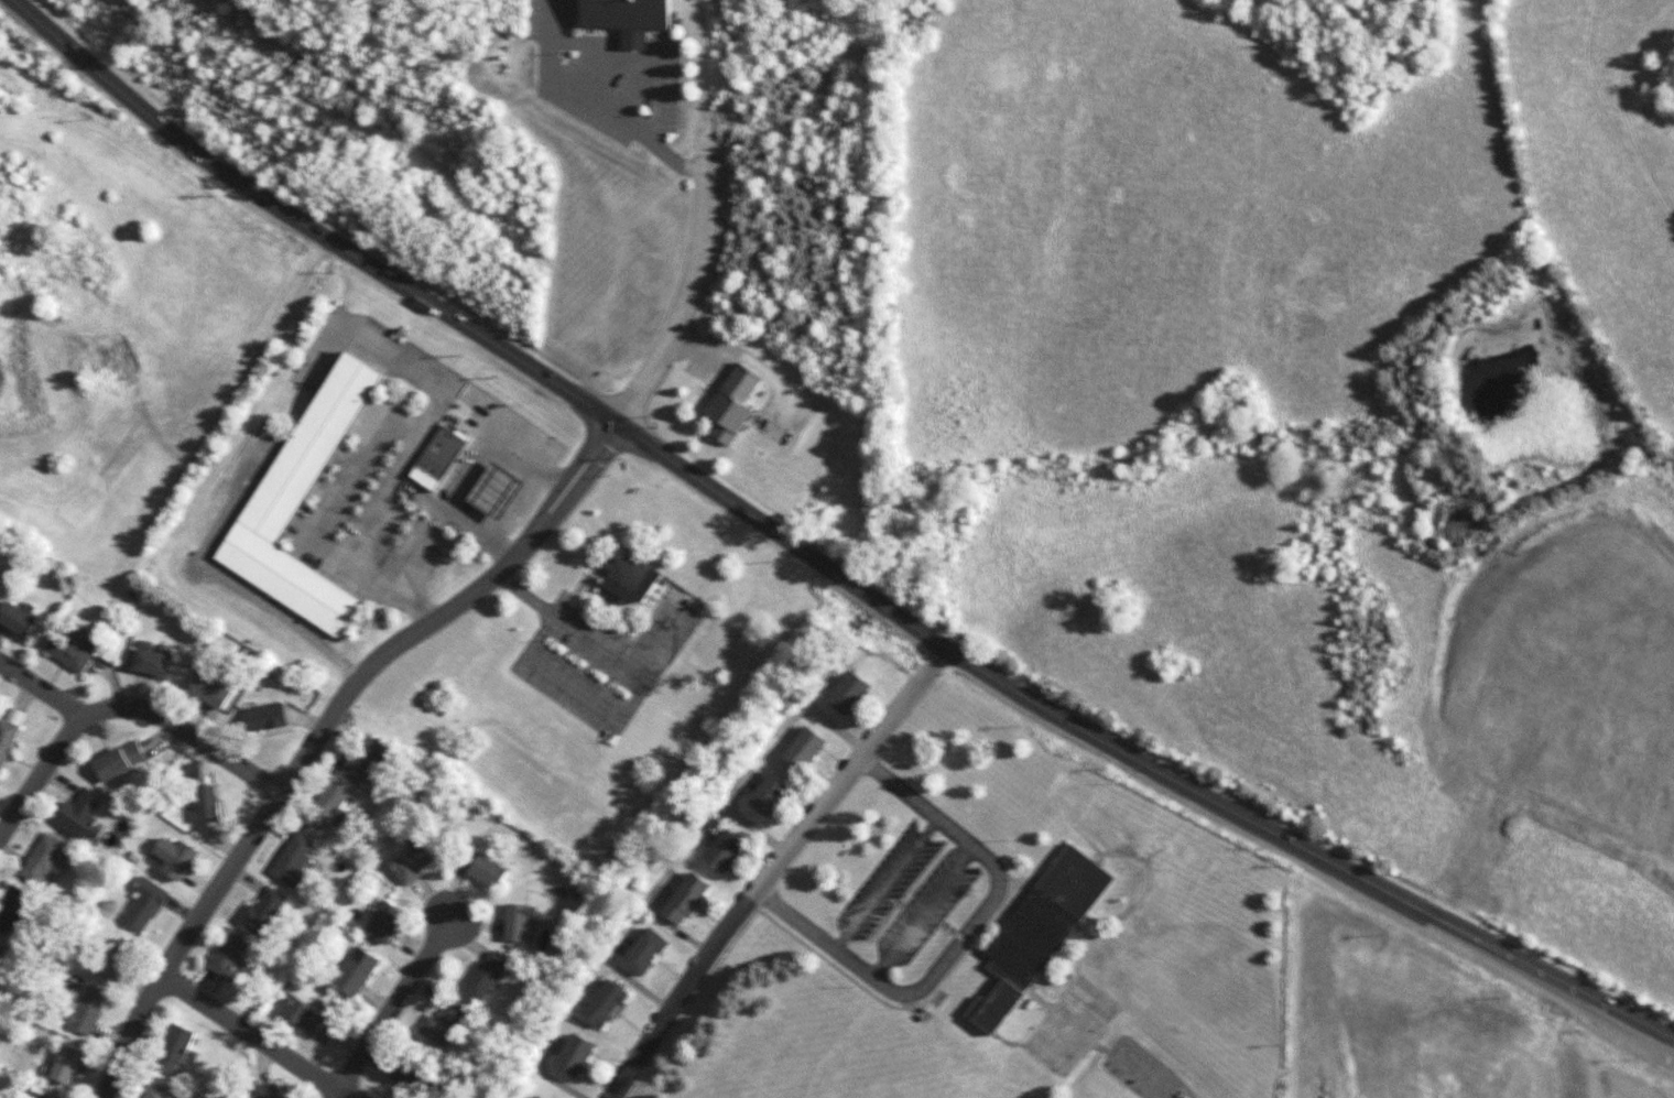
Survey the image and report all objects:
building: (628, 19)
road: (632, 63)
road: (601, 106)
road: (681, 312)
building: (732, 404)
road: (412, 441)
building: (438, 457)
building: (496, 491)
road: (453, 496)
building: (302, 501)
road: (816, 565)
building: (631, 578)
road: (227, 581)
building: (18, 619)
building: (72, 650)
building: (152, 662)
road: (37, 692)
building: (210, 692)
building: (849, 693)
road: (120, 709)
building: (265, 717)
road: (320, 731)
building: (7, 741)
building: (805, 749)
building: (363, 759)
building: (119, 761)
building: (770, 794)
building: (207, 803)
building: (328, 808)
building: (80, 816)
building: (725, 850)
building: (175, 858)
building: (45, 859)
building: (295, 859)
building: (411, 863)
building: (485, 870)
road: (772, 870)
road: (885, 883)
building: (686, 899)
building: (145, 904)
building: (13, 909)
building: (262, 912)
road: (922, 912)
building: (519, 921)
building: (384, 922)
building: (1039, 933)
road: (961, 939)
building: (0, 947)
building: (645, 952)
building: (229, 957)
building: (113, 960)
building: (356, 971)
building: (486, 975)
building: (606, 1003)
building: (87, 1009)
road: (396, 1010)
building: (305, 1015)
building: (443, 1023)
road: (258, 1037)
building: (174, 1050)
building: (576, 1055)
building: (66, 1064)
building: (409, 1076)
building: (157, 1091)
building: (265, 1091)
building: (43, 1096)
road: (343, 1096)
building: (535, 1097)

